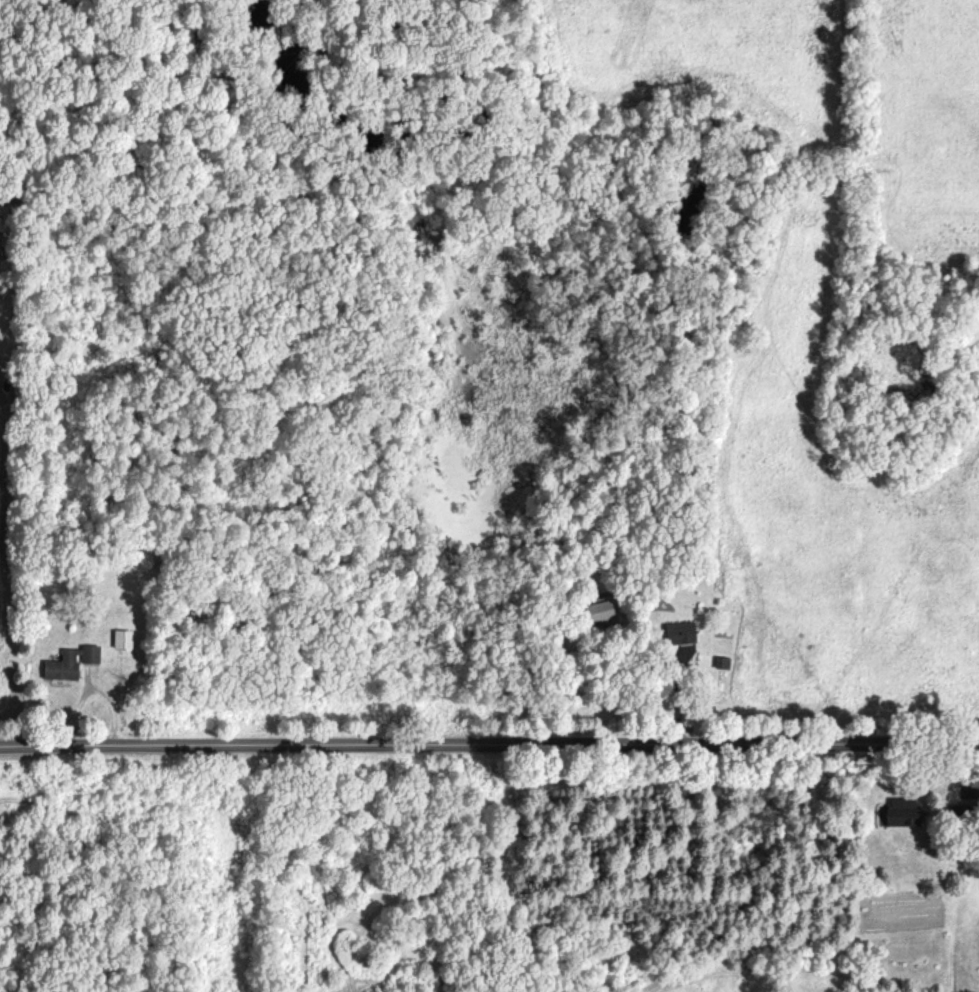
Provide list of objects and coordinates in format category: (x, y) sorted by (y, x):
building: (605, 614)
building: (684, 634)
building: (126, 641)
building: (73, 664)
road: (489, 740)
building: (906, 816)

